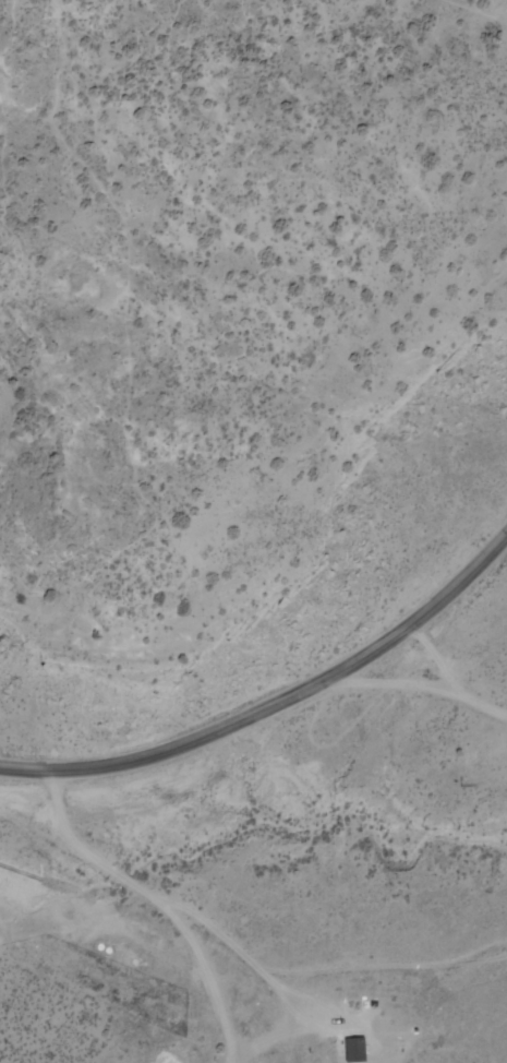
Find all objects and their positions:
road: (277, 704)
building: (357, 1051)

